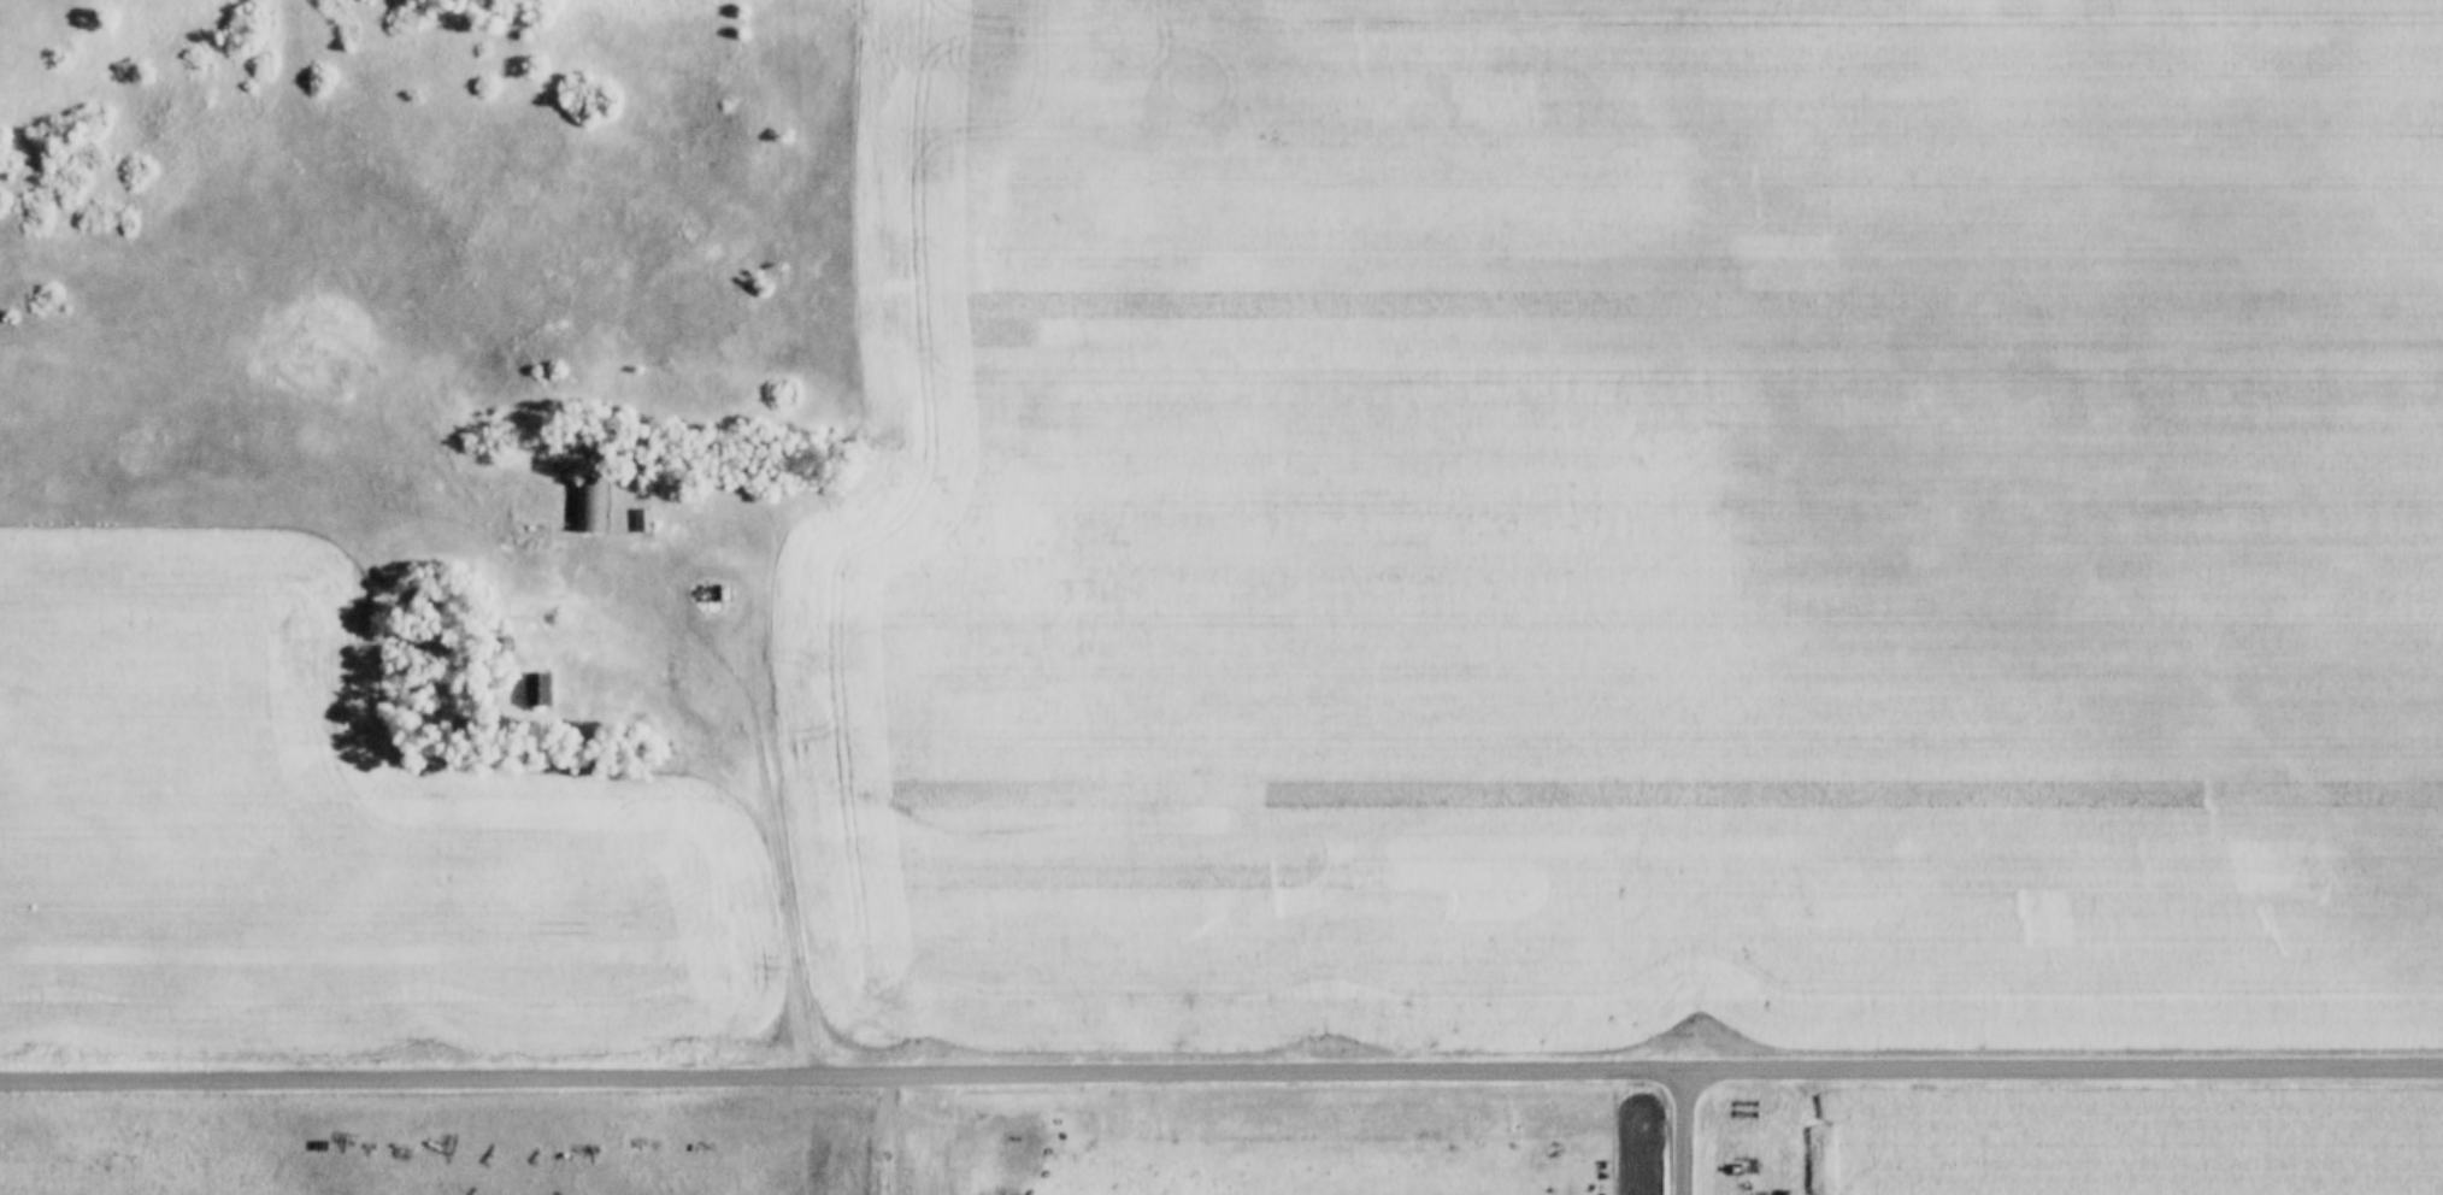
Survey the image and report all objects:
building: (595, 485)
building: (649, 506)
road: (783, 518)
building: (643, 523)
road: (700, 635)
building: (544, 671)
building: (537, 693)
road: (1220, 1066)
road: (1679, 1130)

